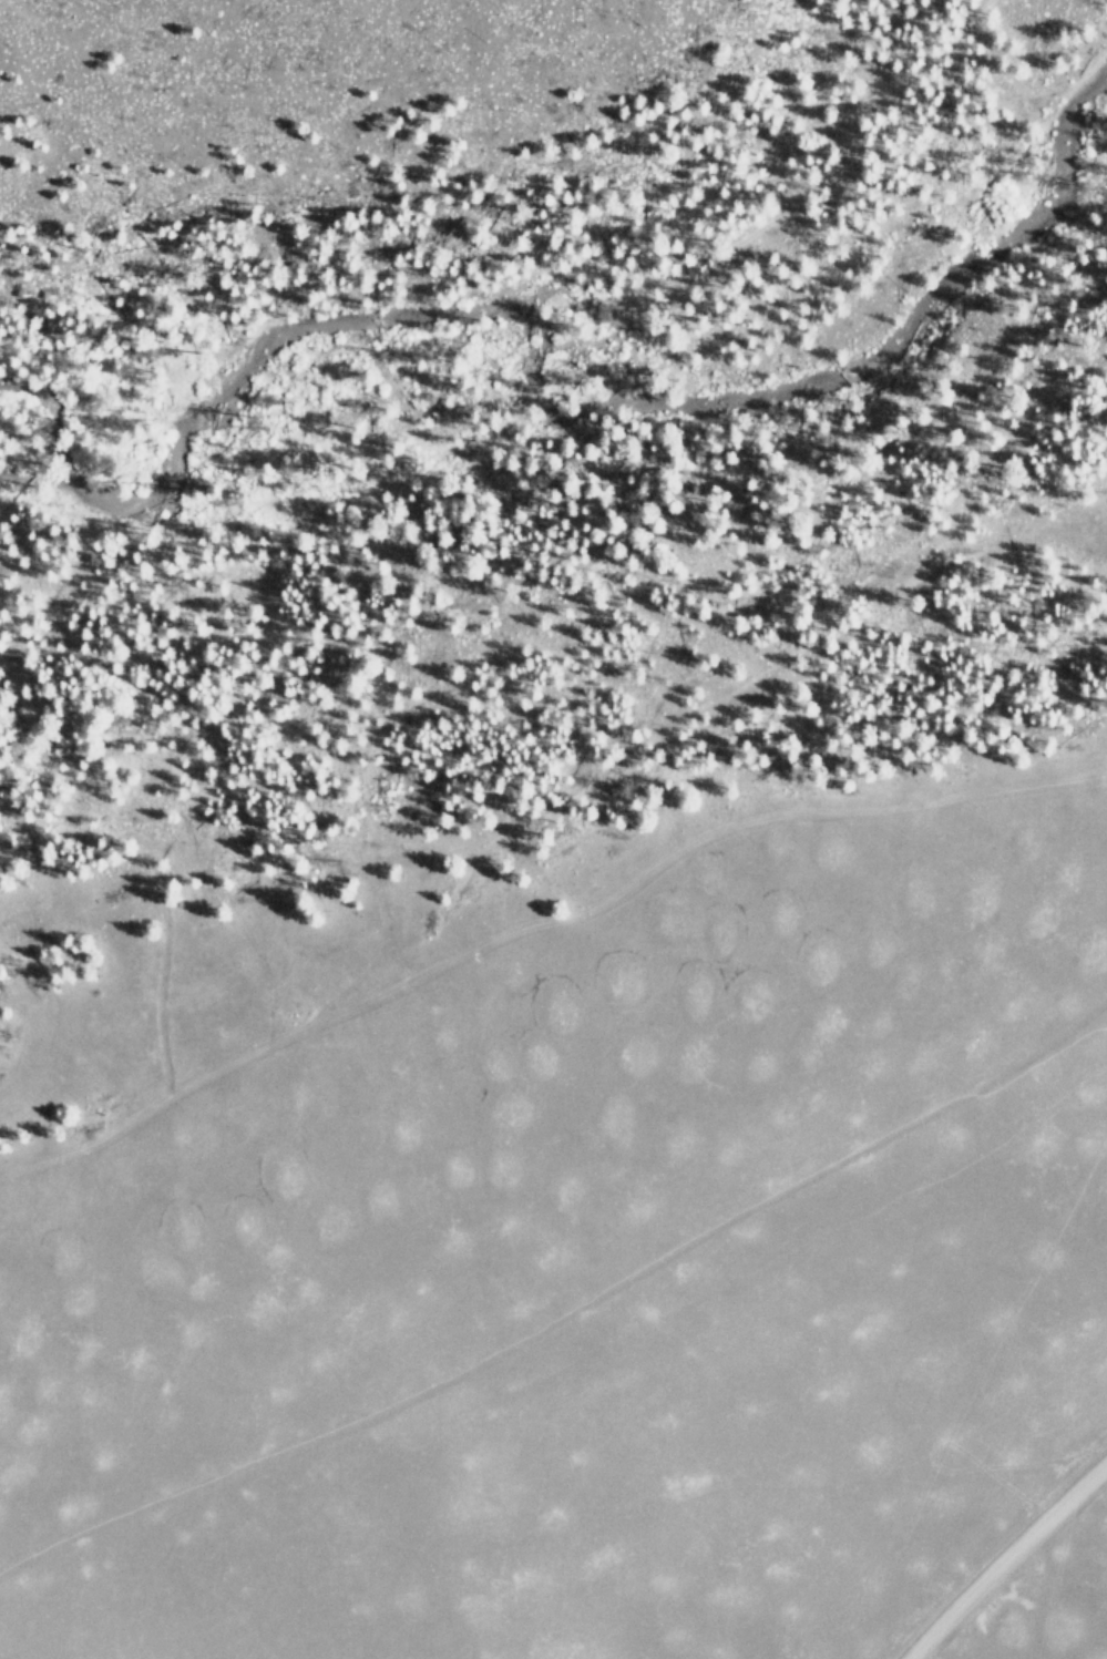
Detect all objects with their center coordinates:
road: (984, 1546)

